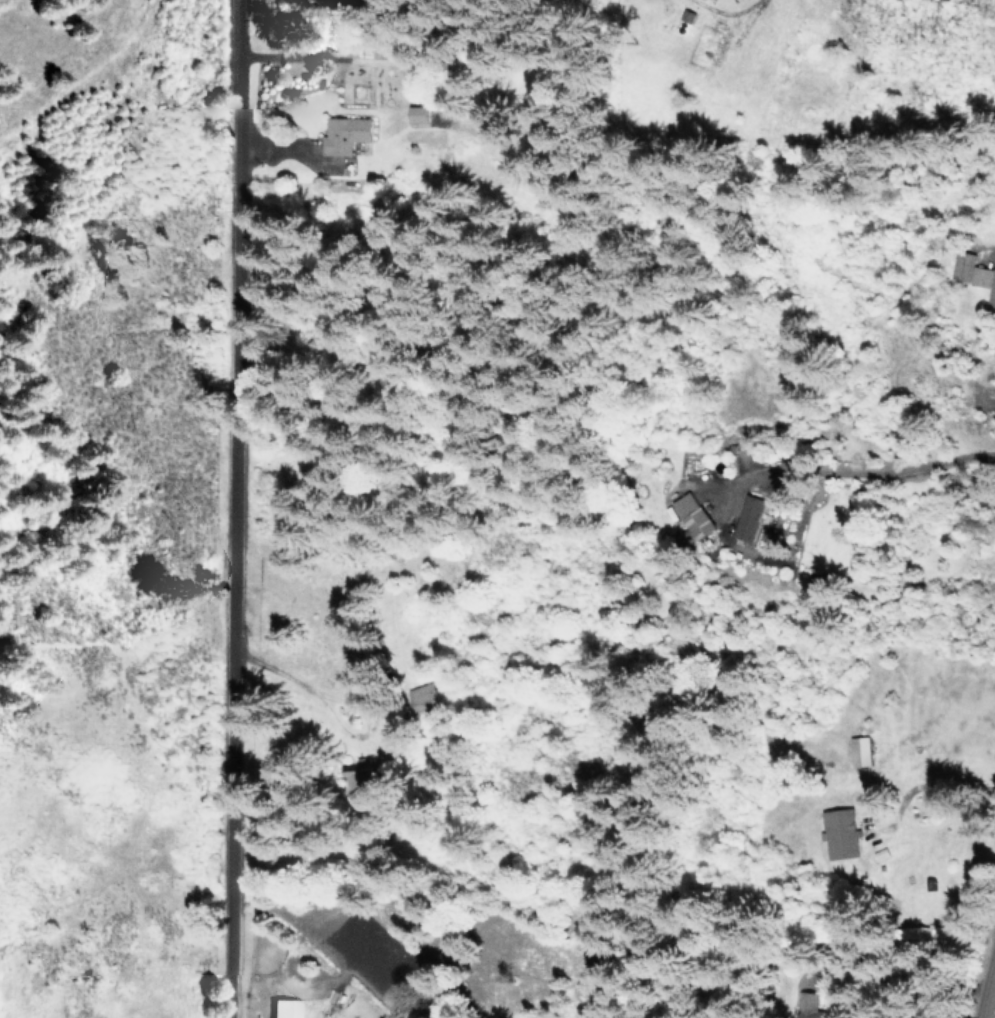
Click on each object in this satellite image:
road: (725, 5)
building: (420, 113)
building: (346, 133)
building: (973, 274)
road: (873, 461)
road: (239, 508)
building: (692, 514)
building: (750, 517)
building: (817, 581)
building: (860, 750)
building: (841, 833)
road: (991, 1006)
building: (286, 1008)

